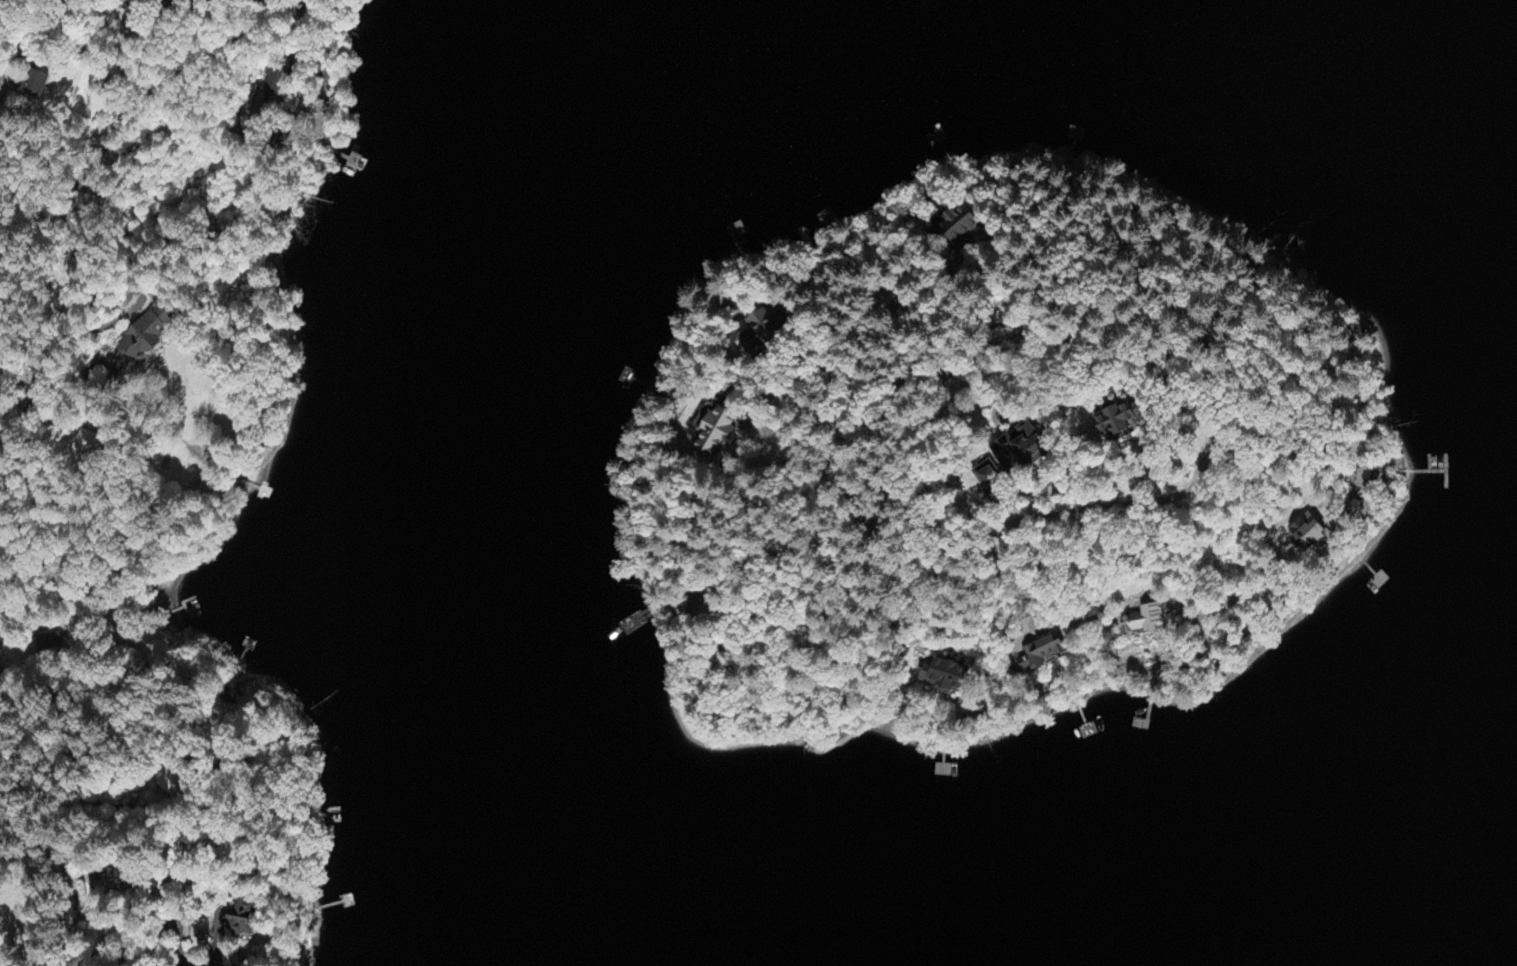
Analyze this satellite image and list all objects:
building: (275, 84)
building: (35, 87)
road: (44, 196)
building: (959, 225)
road: (191, 317)
building: (148, 335)
building: (1118, 417)
building: (714, 427)
building: (90, 443)
building: (987, 477)
road: (83, 520)
building: (1307, 533)
building: (1145, 621)
building: (50, 645)
building: (1041, 654)
building: (944, 676)
building: (116, 877)
road: (18, 892)
building: (243, 919)

